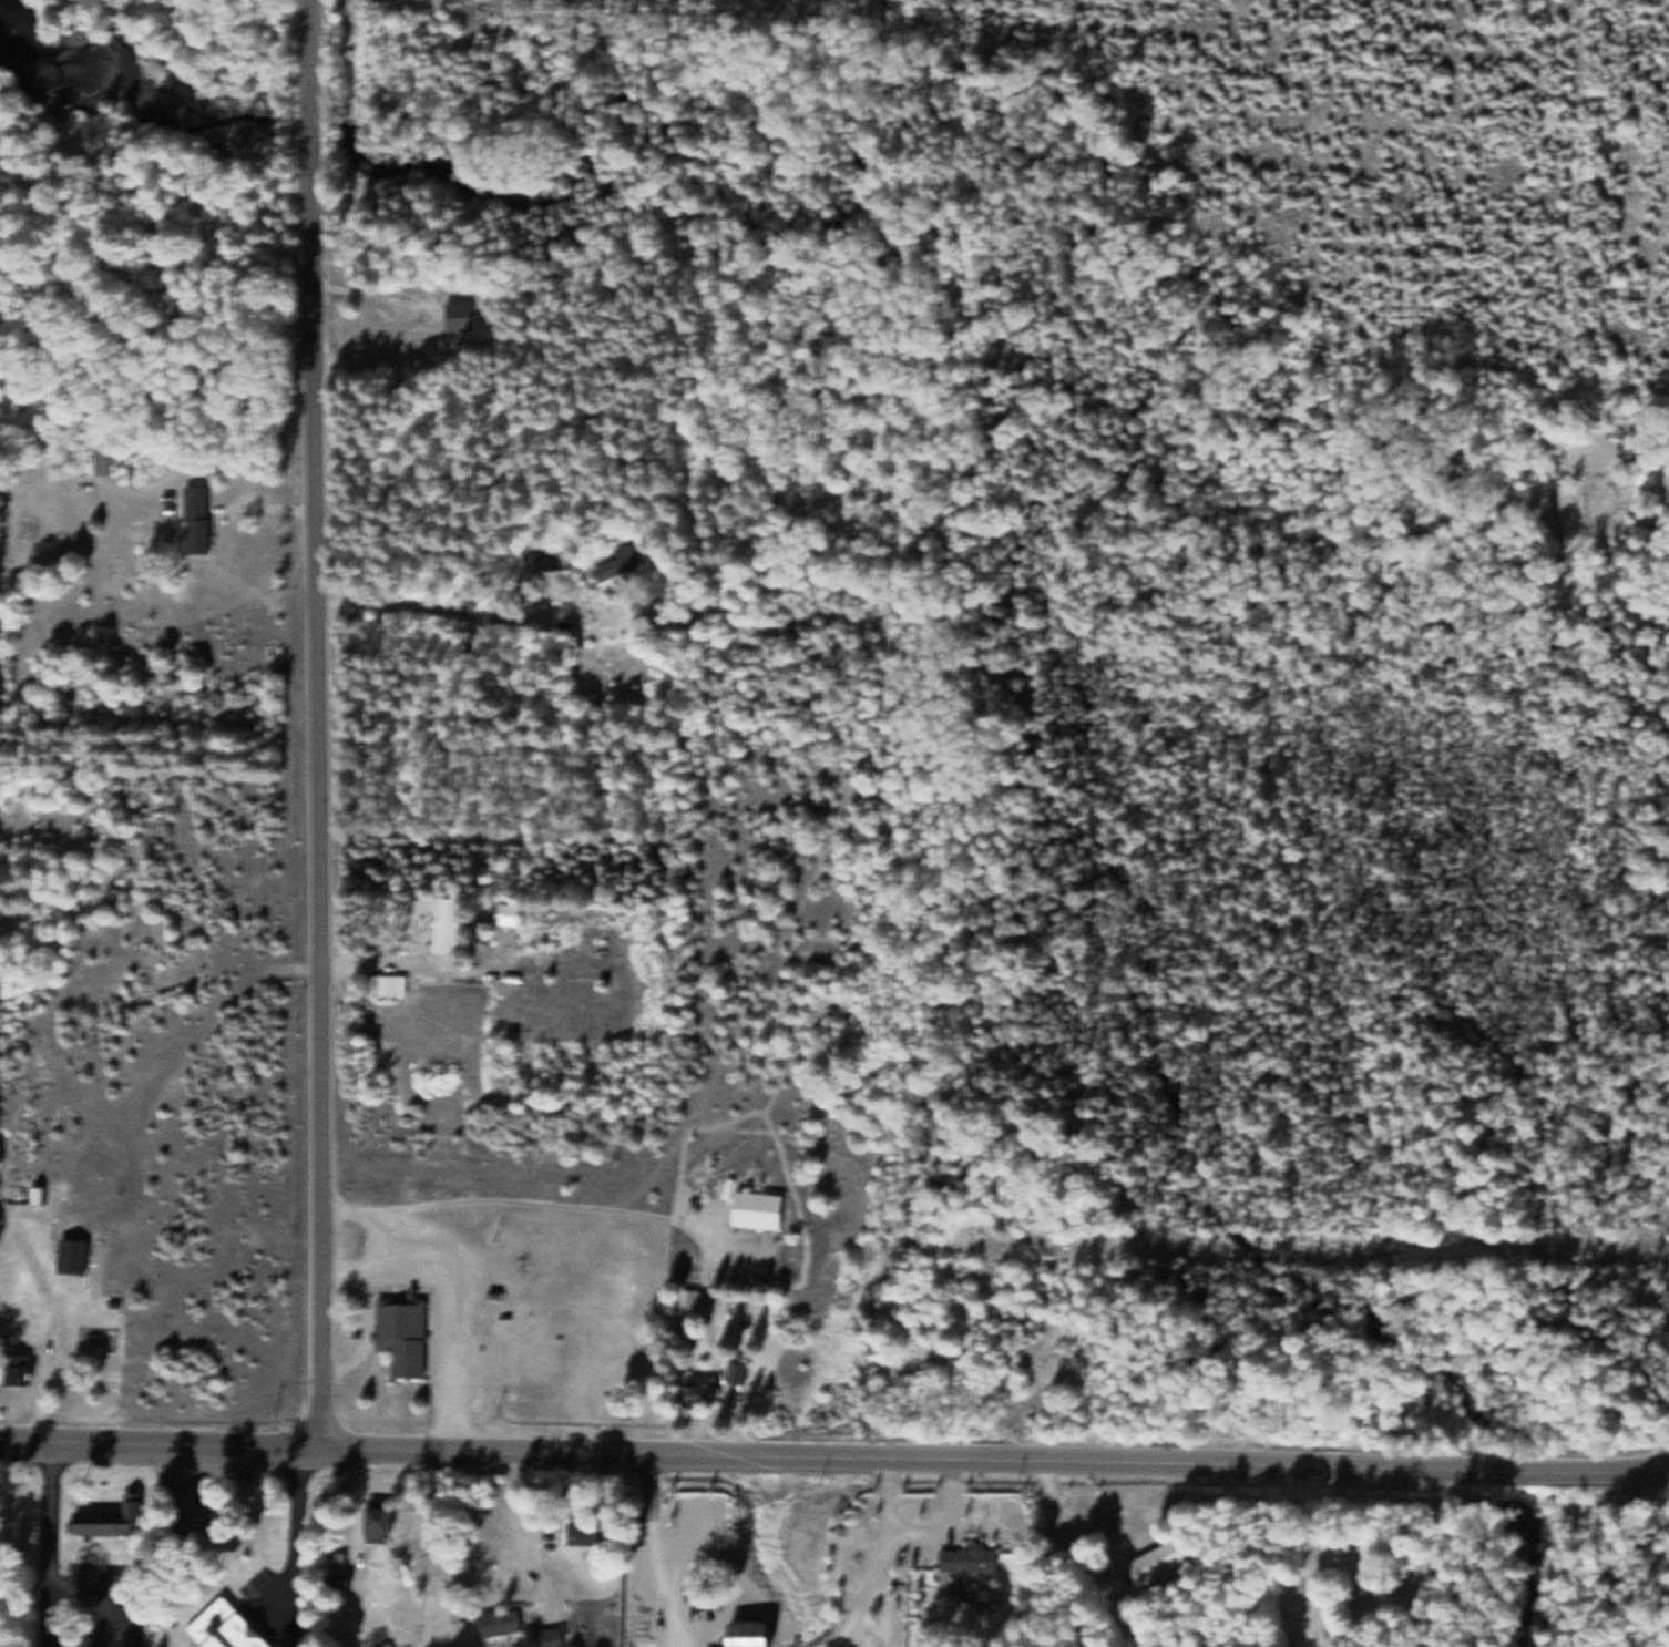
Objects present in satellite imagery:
road: (311, 78)
building: (468, 316)
building: (419, 333)
building: (111, 458)
building: (203, 519)
building: (555, 557)
building: (627, 563)
road: (324, 802)
building: (453, 925)
building: (391, 985)
building: (766, 1209)
building: (75, 1257)
road: (370, 1285)
road: (452, 1299)
building: (693, 1299)
building: (403, 1331)
building: (739, 1372)
building: (703, 1391)
road: (164, 1443)
road: (583, 1453)
road: (1166, 1465)
road: (1621, 1466)
road: (1535, 1470)
road: (1048, 1490)
road: (942, 1498)
building: (201, 1511)
building: (115, 1515)
building: (378, 1518)
road: (51, 1542)
road: (300, 1548)
building: (971, 1558)
road: (1447, 1558)
building: (1159, 1561)
building: (339, 1574)
road: (117, 1617)
building: (502, 1623)
building: (233, 1627)
building: (755, 1634)
building: (552, 1637)

